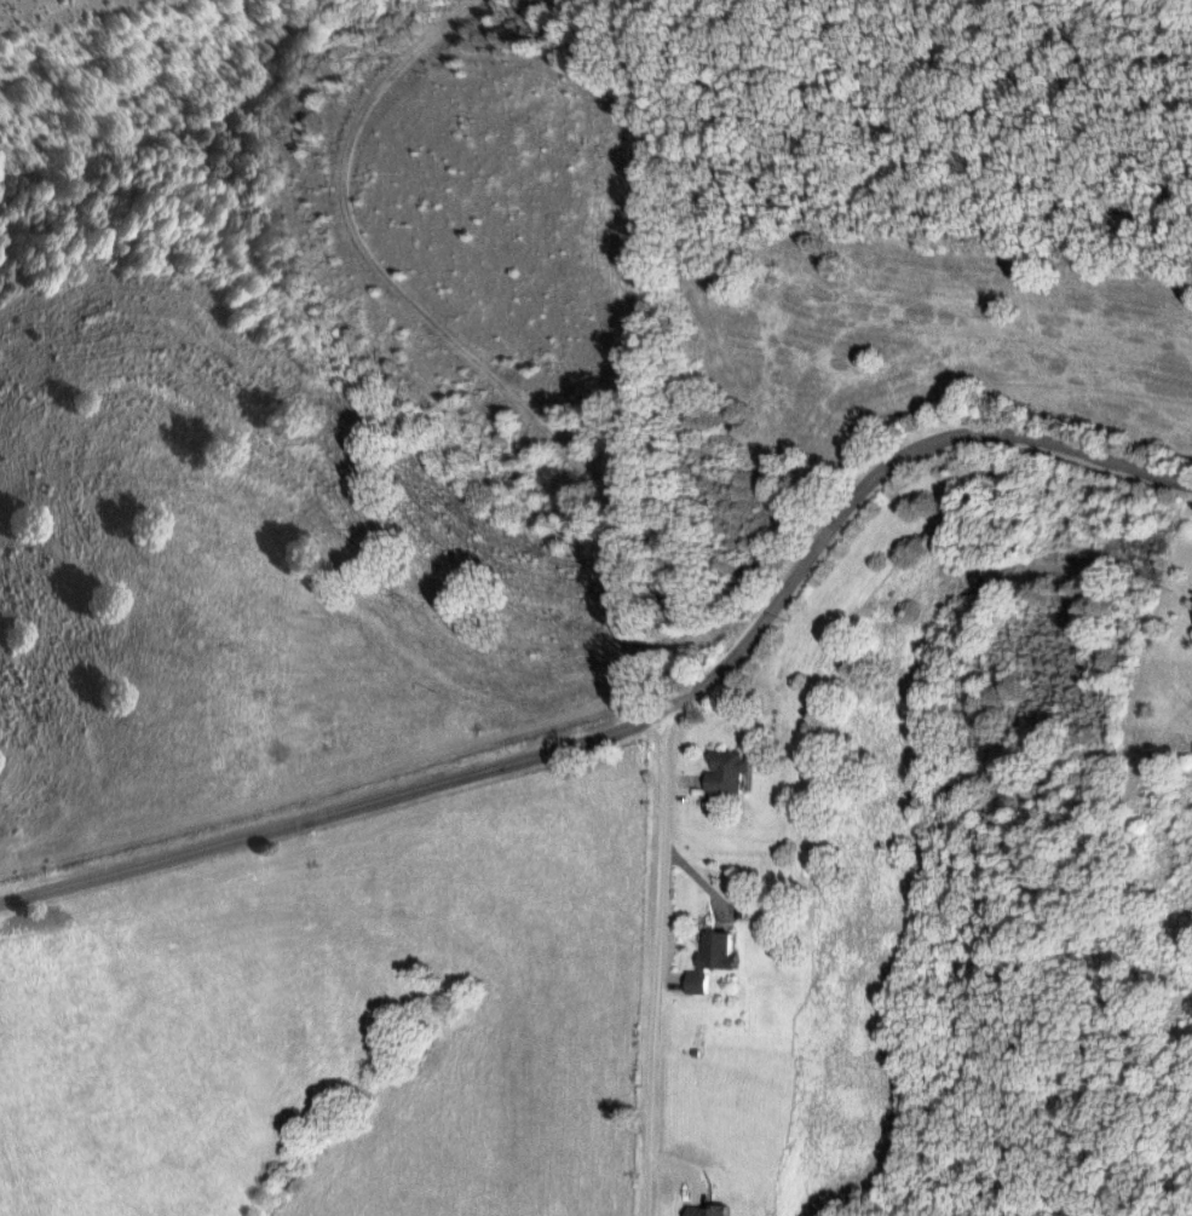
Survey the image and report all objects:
road: (646, 724)
building: (724, 772)
building: (708, 961)
road: (655, 967)
building: (703, 1211)

